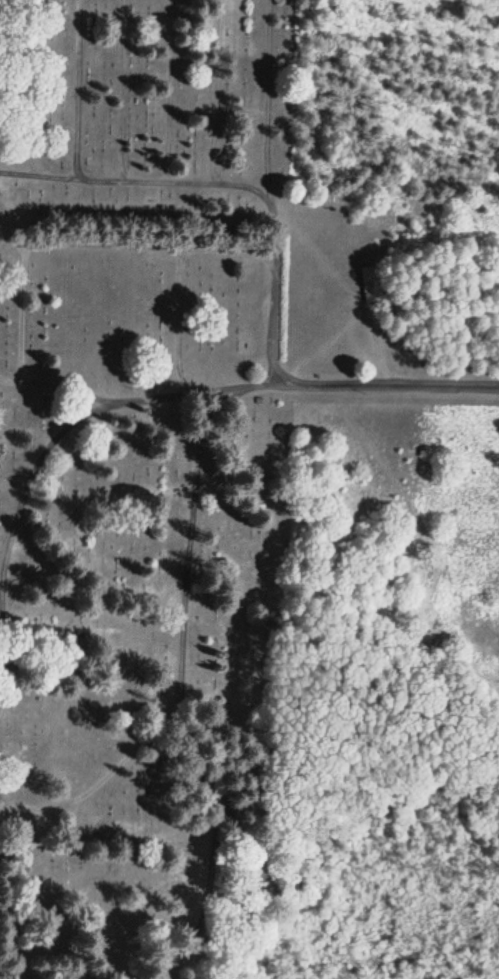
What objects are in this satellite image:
road: (77, 89)
road: (135, 182)
road: (270, 190)
building: (373, 283)
road: (289, 382)
park: (139, 491)
road: (14, 554)
road: (6, 804)

